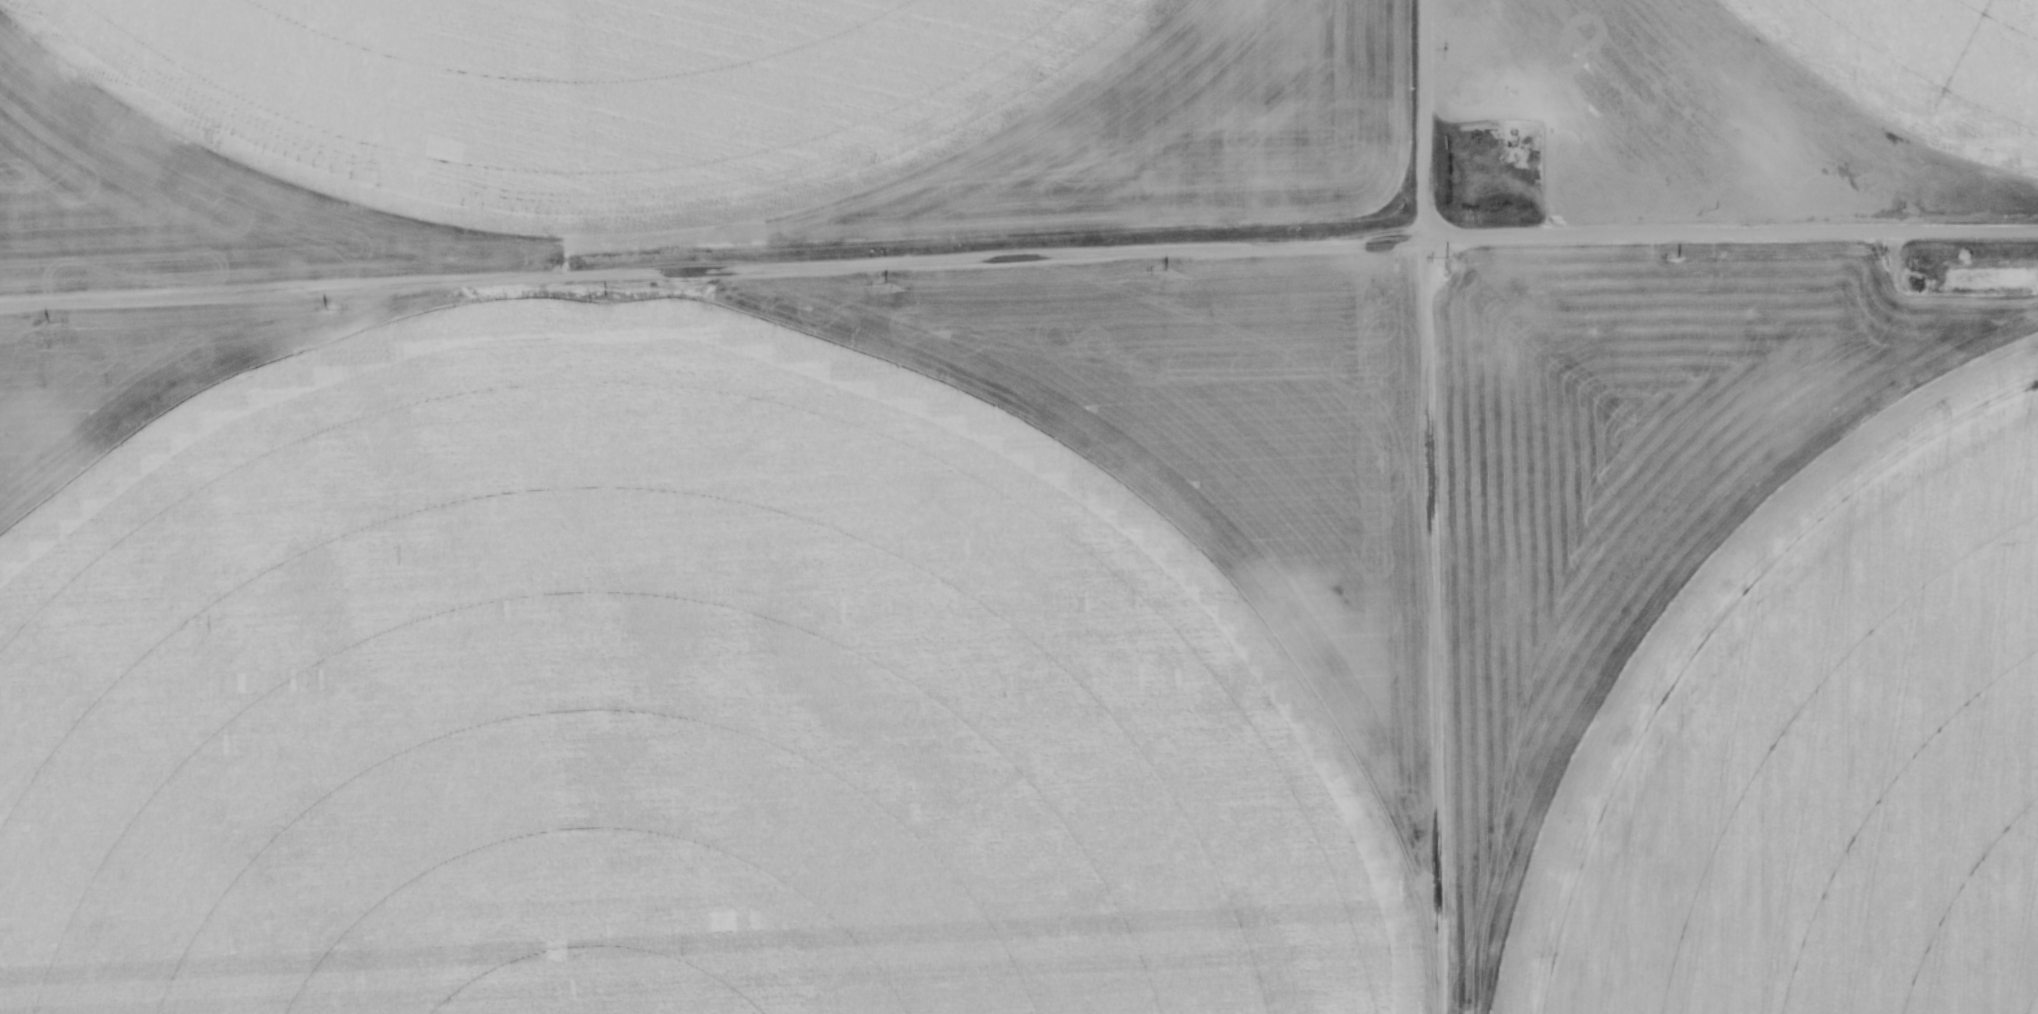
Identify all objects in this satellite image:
crop: (1747, 99)
road: (1424, 117)
road: (1018, 253)
crop: (953, 544)

